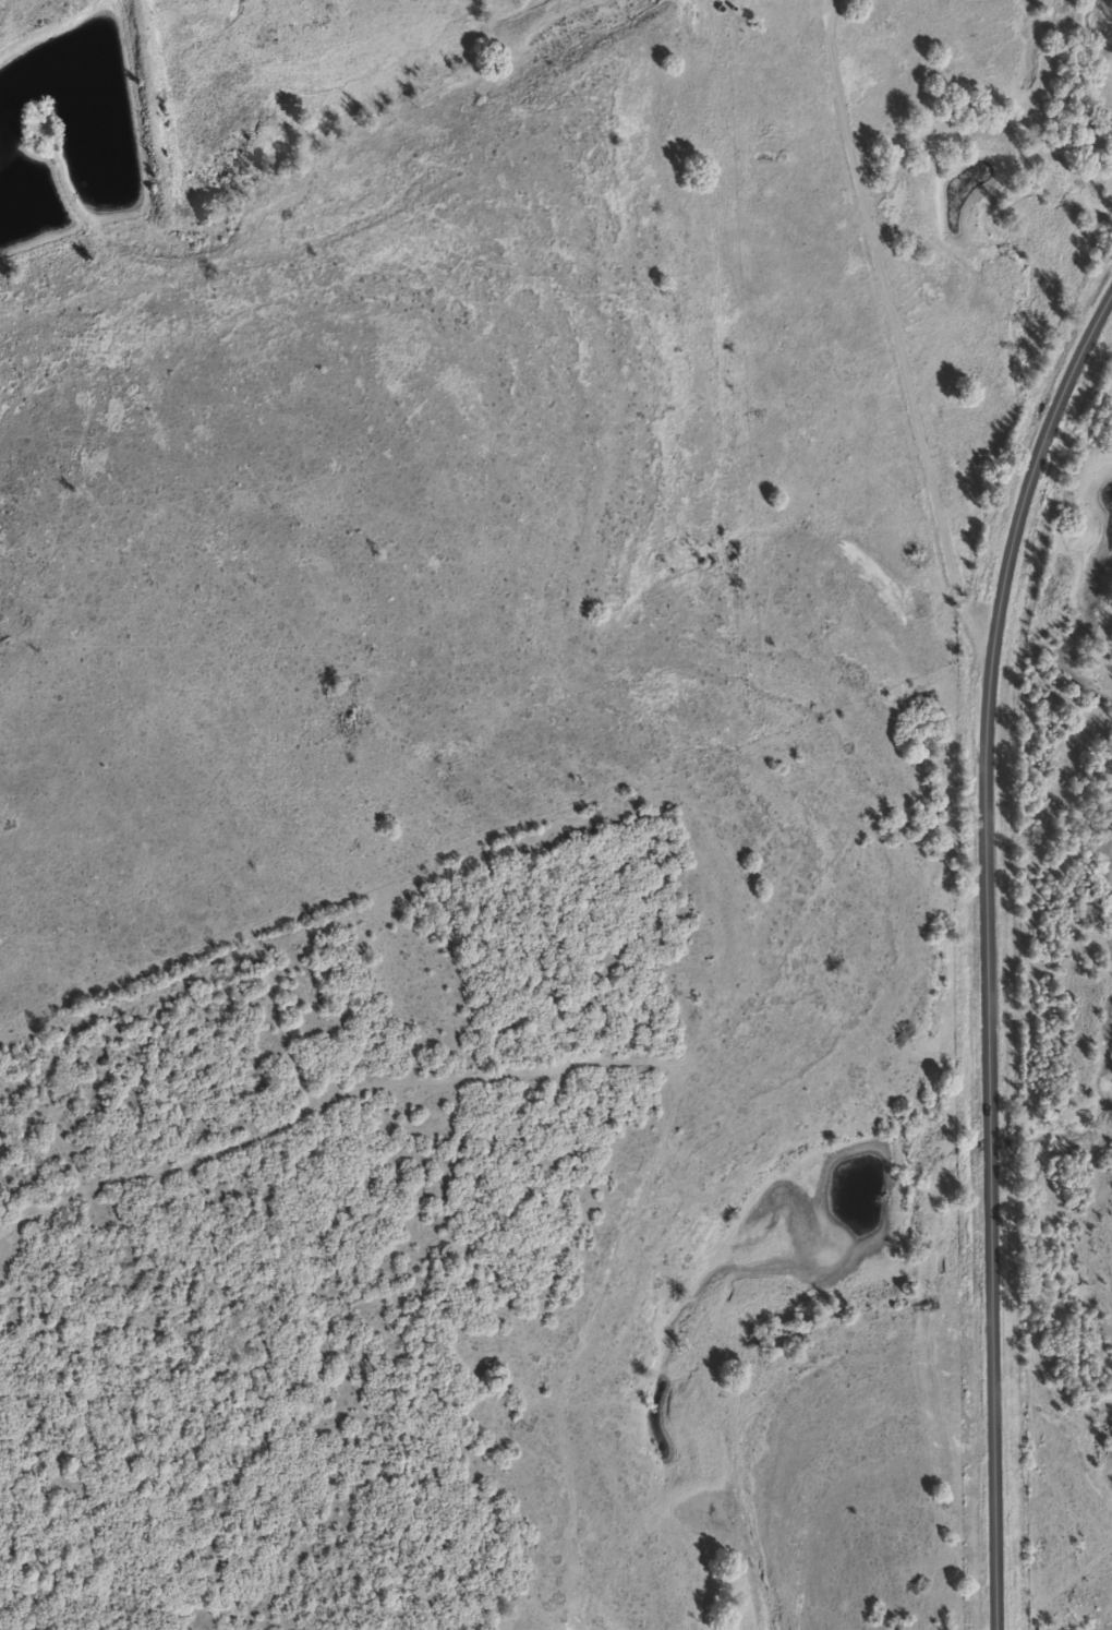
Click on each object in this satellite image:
road: (896, 337)
road: (990, 954)

